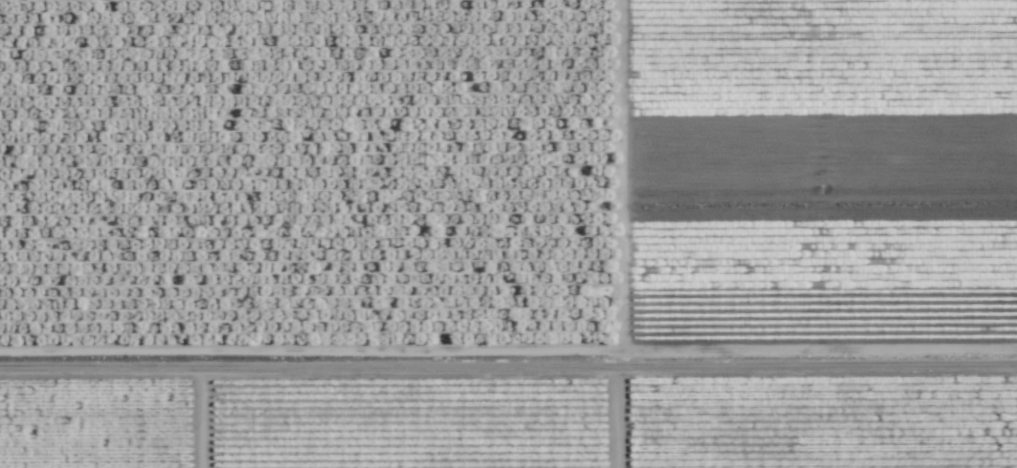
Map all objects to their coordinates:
crop: (508, 234)
road: (508, 352)

